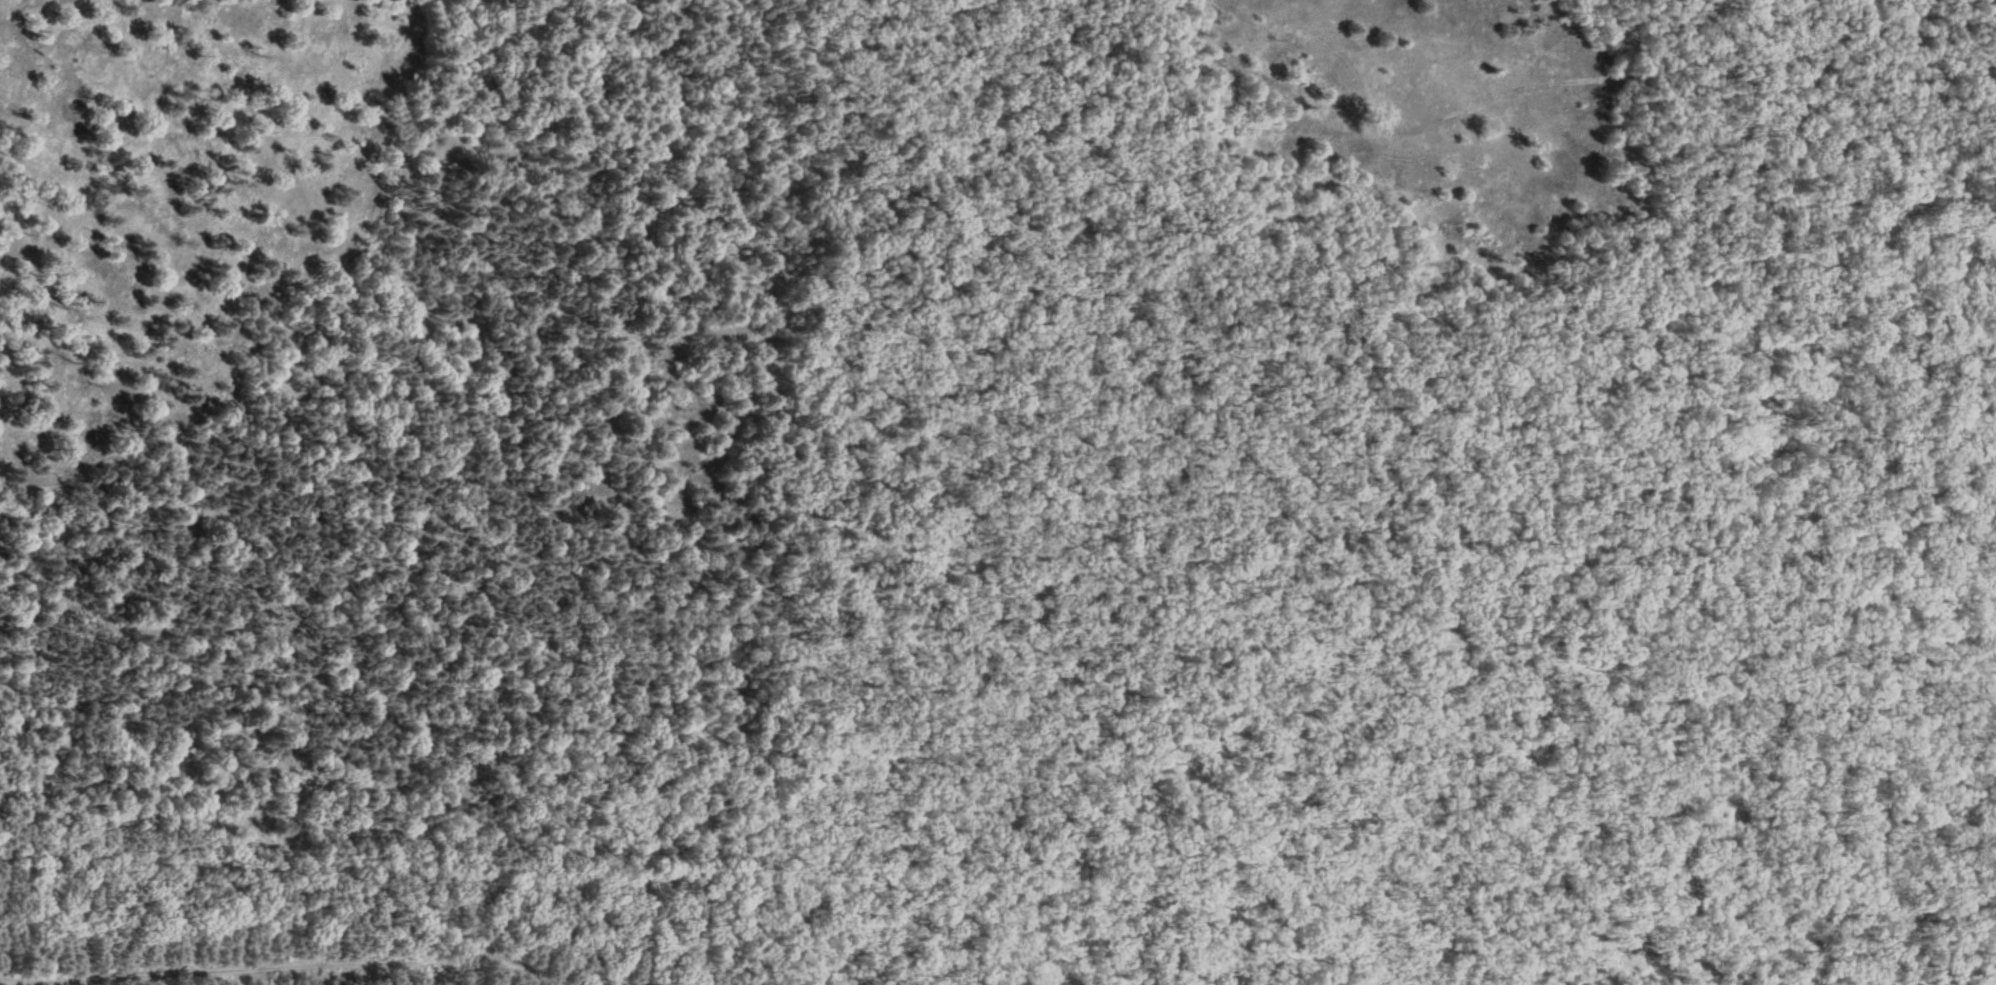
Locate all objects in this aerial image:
road: (1705, 476)
road: (278, 827)
road: (273, 970)
road: (8, 983)

